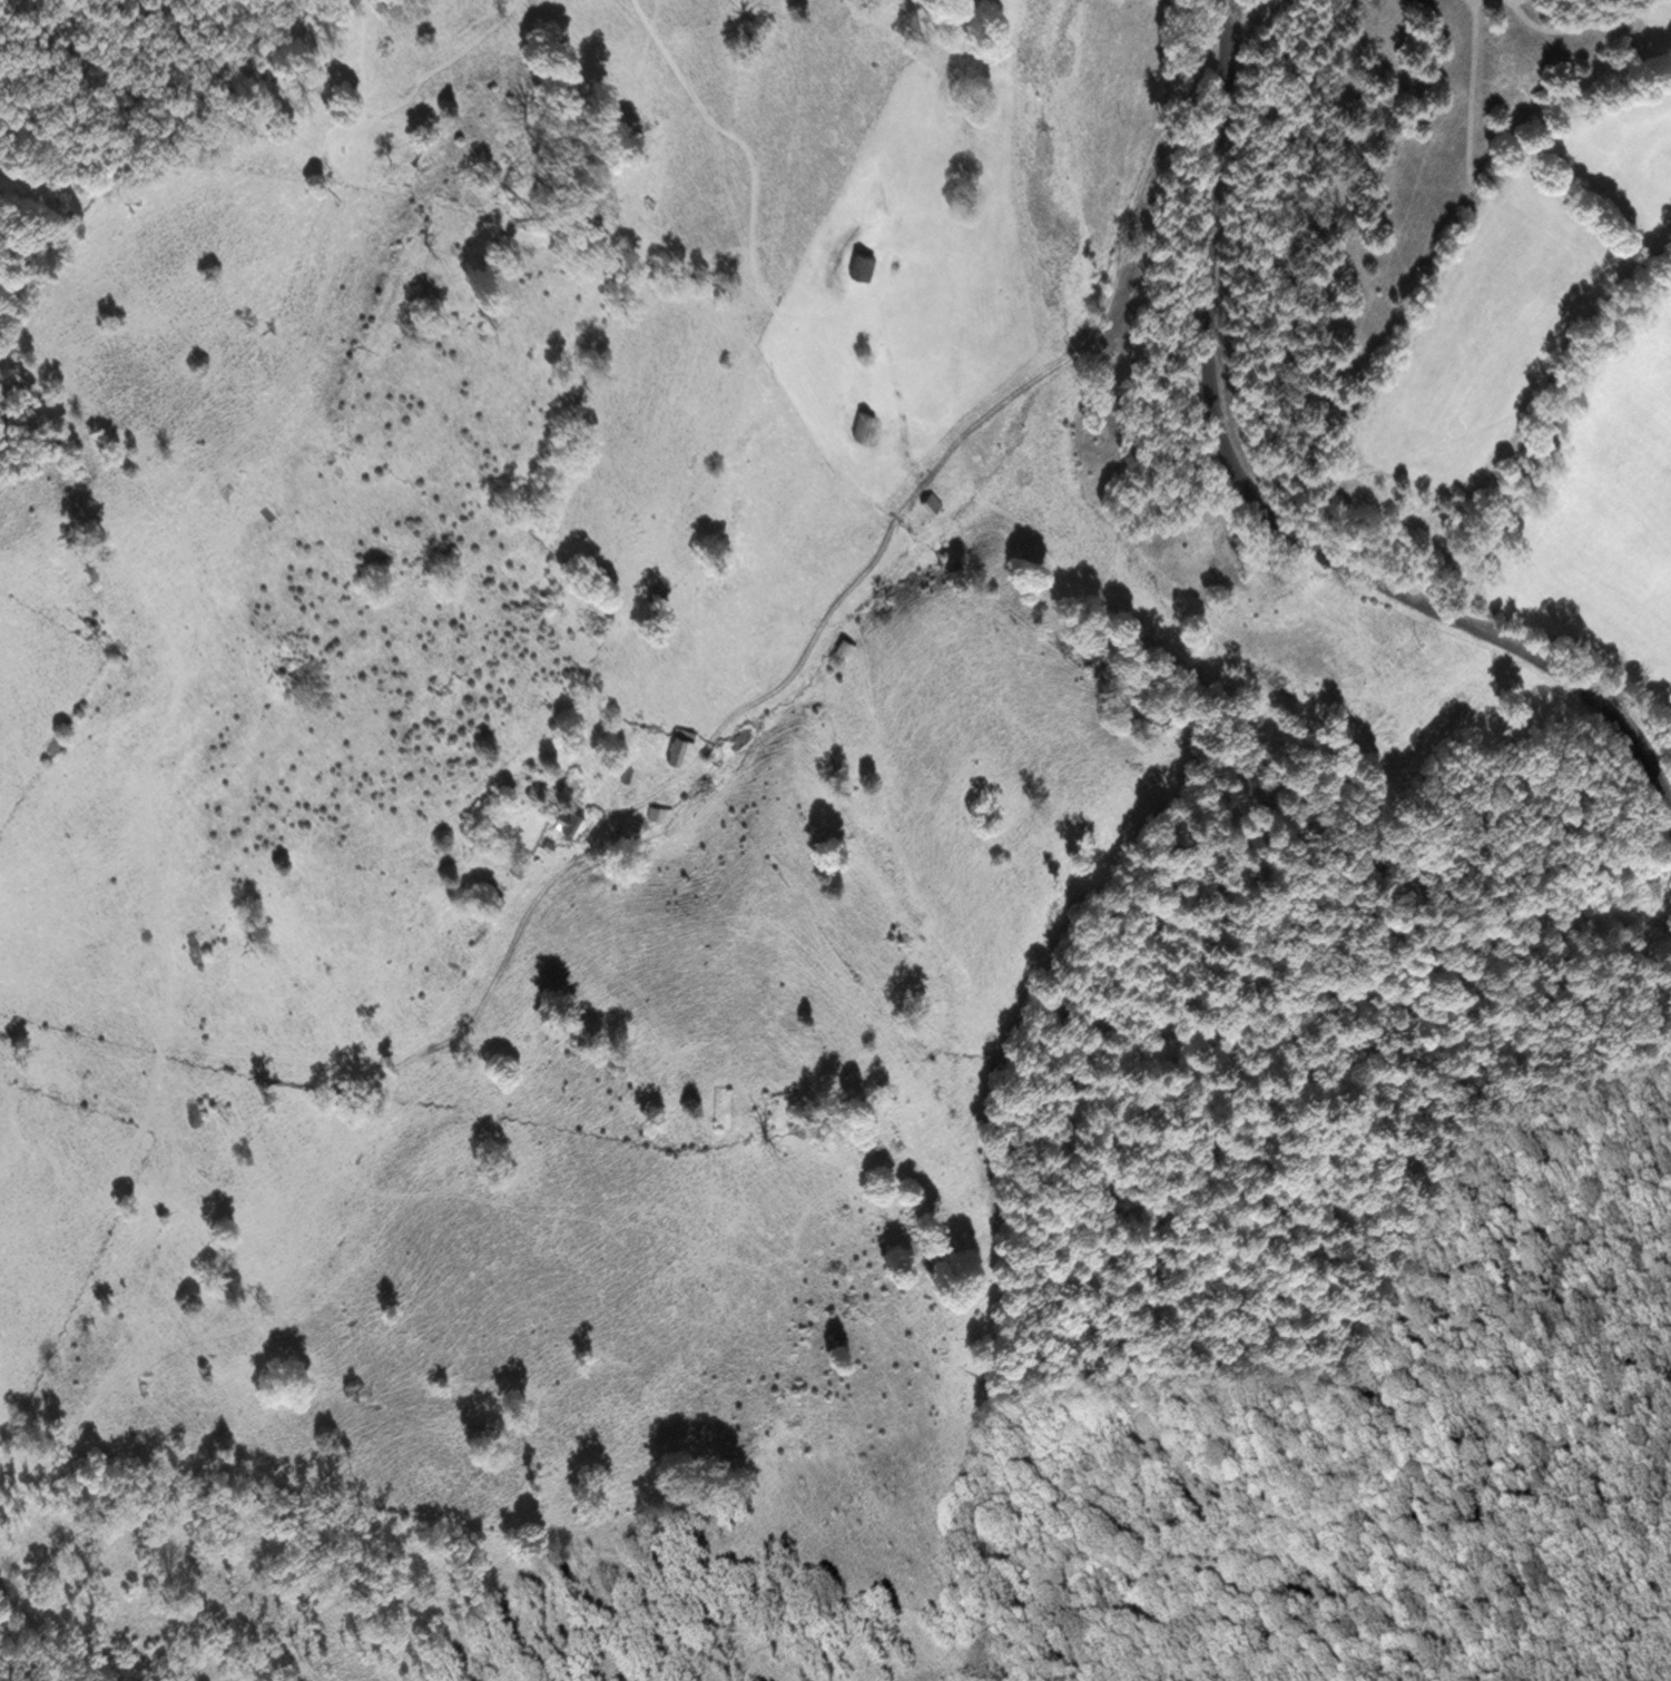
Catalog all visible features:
building: (864, 263)
building: (866, 423)
road: (945, 458)
building: (928, 507)
road: (1256, 517)
building: (847, 650)
building: (682, 747)
building: (661, 814)
building: (572, 819)
building: (499, 901)

